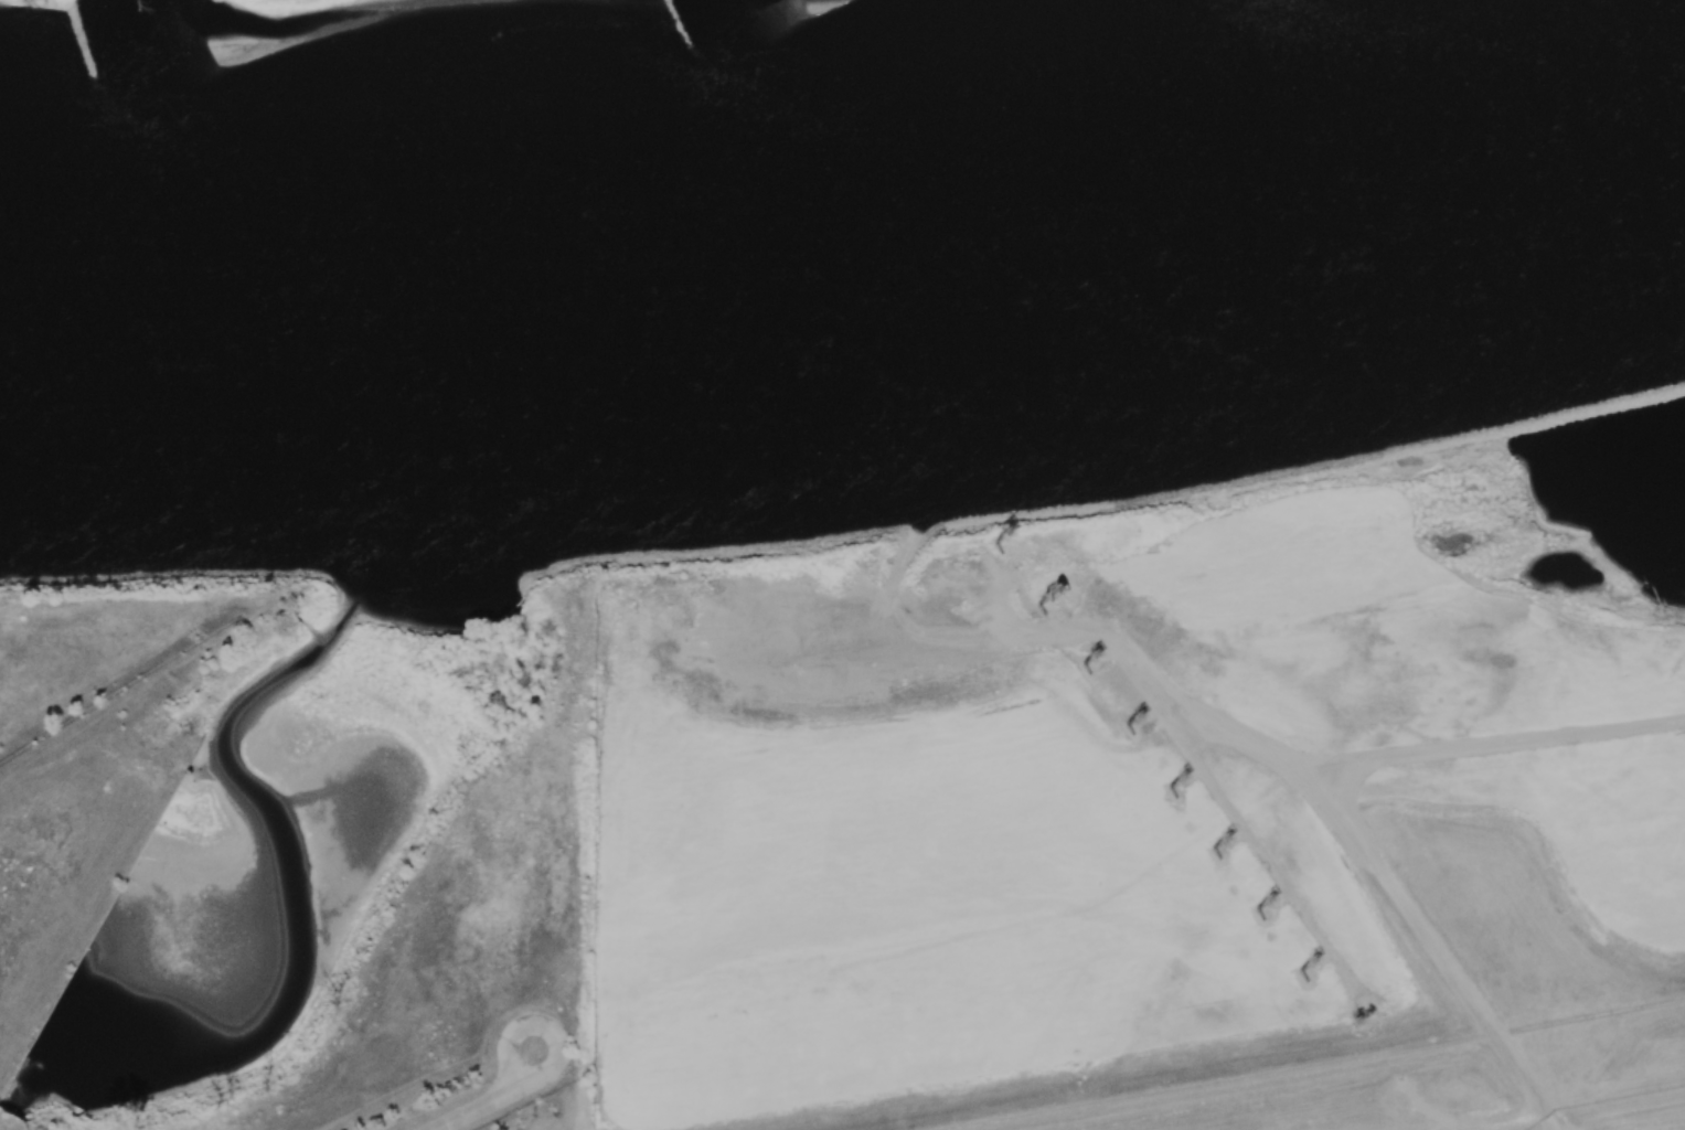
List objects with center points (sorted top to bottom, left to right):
river: (849, 257)
road: (893, 582)
road: (1222, 727)
road: (1487, 744)
road: (1344, 783)
road: (1234, 818)
road: (494, 1101)
airport: (1623, 1113)
road: (1462, 1120)
road: (1443, 1126)

